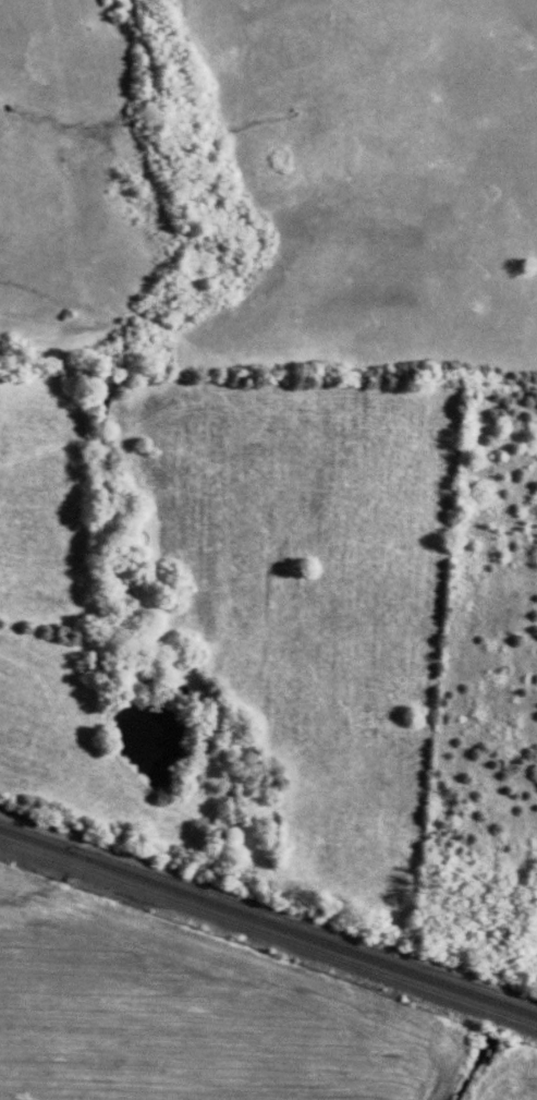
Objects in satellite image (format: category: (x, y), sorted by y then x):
railway: (268, 922)
railway: (268, 933)

